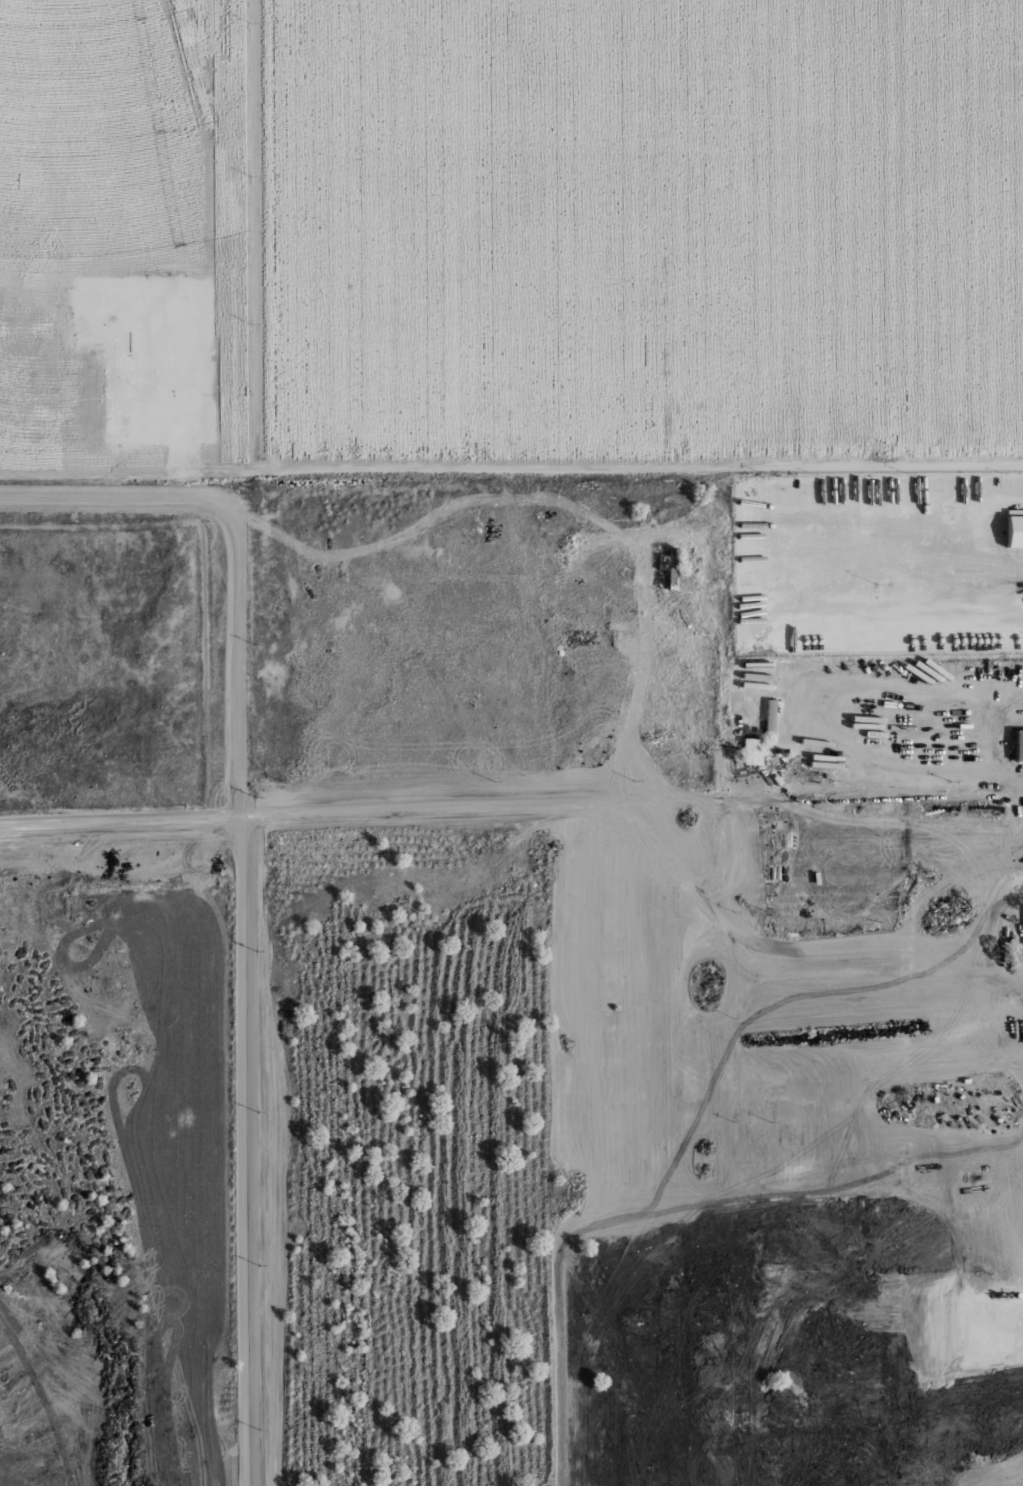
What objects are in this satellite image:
crop: (125, 228)
road: (207, 249)
road: (511, 469)
building: (1013, 530)
road: (923, 573)
building: (769, 716)
building: (1016, 743)
building: (750, 750)
road: (545, 807)
road: (244, 1152)

